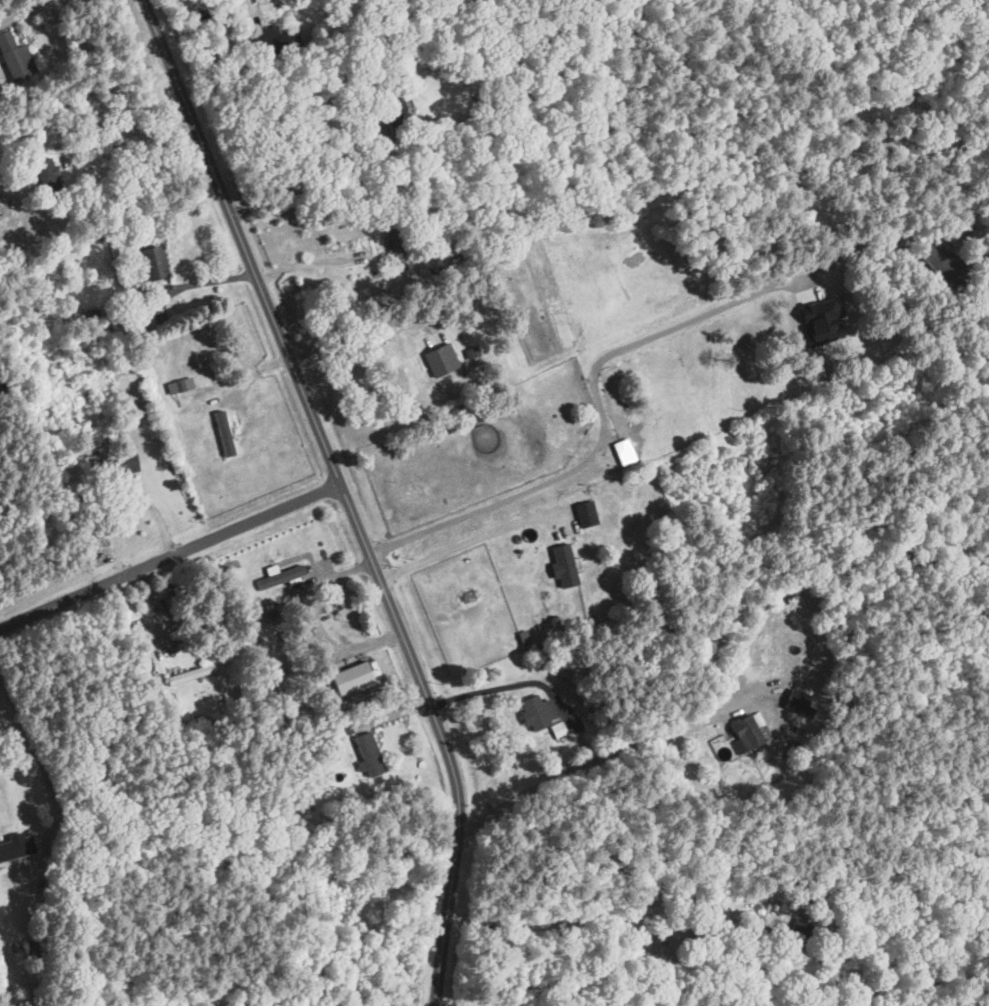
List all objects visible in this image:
road: (22, 10)
building: (275, 41)
building: (14, 60)
building: (480, 104)
road: (122, 123)
building: (46, 175)
road: (315, 181)
building: (150, 260)
building: (943, 262)
road: (194, 283)
road: (355, 331)
building: (438, 358)
road: (594, 372)
building: (221, 434)
building: (621, 450)
building: (114, 466)
road: (344, 494)
building: (583, 513)
road: (462, 543)
road: (170, 556)
building: (560, 564)
building: (284, 576)
road: (501, 686)
building: (794, 700)
building: (538, 715)
building: (337, 728)
building: (743, 731)
building: (367, 753)
road: (602, 755)
building: (13, 874)
road: (614, 908)
building: (792, 939)

